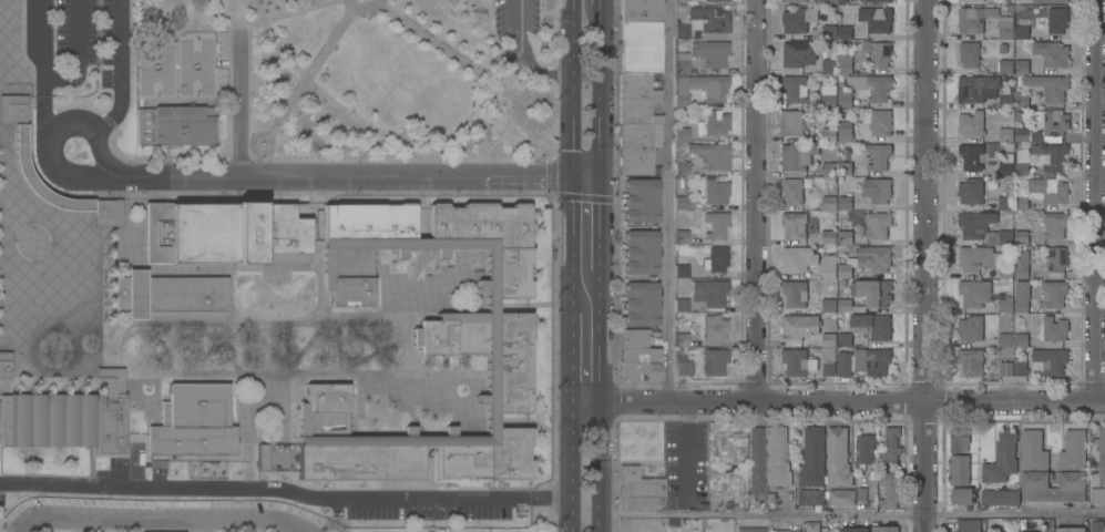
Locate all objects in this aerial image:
building: (716, 0)
building: (792, 0)
building: (877, 0)
building: (972, 0)
building: (1050, 0)
building: (831, 1)
road: (255, 10)
road: (301, 11)
building: (640, 11)
road: (602, 13)
road: (492, 14)
road: (362, 17)
building: (974, 18)
building: (798, 19)
building: (876, 19)
building: (1057, 19)
building: (704, 24)
building: (1006, 28)
parking lot: (515, 29)
building: (1022, 29)
building: (845, 32)
road: (548, 34)
building: (828, 37)
parking lot: (79, 41)
road: (498, 44)
building: (640, 48)
building: (1003, 49)
road: (450, 53)
building: (709, 53)
building: (798, 53)
building: (1051, 53)
building: (880, 54)
building: (969, 54)
road: (525, 55)
road: (79, 58)
building: (681, 62)
building: (829, 65)
building: (1005, 65)
building: (1021, 65)
building: (843, 66)
road: (117, 68)
road: (41, 72)
road: (310, 74)
road: (548, 74)
park: (344, 80)
building: (1048, 85)
building: (708, 86)
building: (870, 86)
road: (573, 88)
building: (976, 88)
road: (548, 89)
building: (795, 89)
building: (1006, 93)
building: (828, 94)
building: (681, 98)
building: (845, 98)
building: (1021, 100)
road: (600, 101)
road: (236, 105)
road: (346, 111)
building: (13, 113)
road: (549, 121)
building: (715, 123)
building: (791, 123)
building: (880, 123)
building: (971, 123)
building: (638, 124)
building: (174, 126)
building: (1044, 126)
building: (845, 131)
building: (1005, 131)
building: (828, 134)
road: (500, 137)
road: (272, 151)
building: (702, 152)
building: (797, 155)
building: (971, 156)
building: (877, 157)
road: (505, 158)
building: (1041, 158)
building: (1005, 164)
building: (681, 167)
building: (829, 168)
building: (845, 168)
traffic signals: (573, 175)
road: (585, 175)
traffic signals: (597, 175)
road: (236, 176)
building: (795, 190)
building: (877, 190)
building: (970, 191)
building: (715, 192)
building: (1044, 192)
building: (1006, 199)
building: (640, 201)
road: (668, 201)
road: (756, 201)
road: (1095, 201)
building: (845, 202)
building: (681, 203)
building: (828, 203)
building: (106, 213)
building: (715, 225)
building: (794, 225)
building: (878, 225)
building: (1054, 225)
building: (982, 227)
building: (224, 234)
road: (598, 235)
building: (843, 236)
road: (572, 237)
building: (681, 237)
building: (829, 237)
building: (1021, 237)
building: (640, 252)
building: (802, 257)
building: (716, 259)
building: (982, 260)
building: (866, 262)
building: (1056, 263)
building: (1021, 264)
road: (925, 266)
building: (828, 267)
building: (681, 272)
road: (326, 283)
building: (873, 291)
building: (708, 293)
building: (795, 293)
building: (974, 293)
building: (1053, 294)
building: (171, 297)
building: (640, 304)
building: (828, 305)
building: (1005, 305)
building: (1021, 305)
building: (681, 306)
building: (843, 306)
road: (270, 321)
building: (871, 326)
building: (799, 327)
building: (715, 328)
building: (970, 328)
building: (1054, 329)
building: (828, 339)
building: (843, 339)
building: (681, 340)
building: (1021, 340)
building: (999, 341)
building: (428, 344)
road: (601, 348)
road: (215, 349)
road: (304, 349)
road: (337, 349)
road: (375, 349)
road: (143, 350)
road: (166, 350)
road: (218, 350)
park: (263, 350)
road: (572, 350)
building: (636, 356)
road: (370, 357)
building: (828, 360)
building: (715, 361)
building: (872, 361)
building: (971, 361)
building: (1048, 361)
building: (797, 362)
building: (4, 364)
building: (845, 364)
building: (1020, 367)
building: (682, 368)
building: (1005, 368)
road: (306, 377)
road: (490, 388)
road: (586, 401)
road: (853, 401)
building: (110, 411)
park: (381, 420)
building: (49, 421)
building: (193, 421)
park: (432, 423)
building: (958, 439)
building: (890, 444)
building: (864, 450)
road: (572, 451)
building: (812, 457)
building: (1102, 457)
building: (262, 458)
building: (776, 458)
building: (838, 458)
building: (1001, 458)
building: (756, 462)
road: (602, 467)
building: (1072, 469)
building: (959, 470)
building: (889, 490)
building: (638, 491)
road: (287, 492)
building: (1097, 494)
building: (961, 495)
building: (841, 497)
building: (1000, 497)
parking lot: (1, 498)
building: (810, 498)
parking lot: (428, 513)
road: (853, 514)
road: (573, 516)
road: (144, 519)
road: (289, 525)
building: (968, 525)
building: (1095, 525)
building: (811, 526)
building: (884, 529)
building: (750, 530)
building: (853, 530)
building: (1071, 530)
building: (786, 531)
building: (1027, 531)

